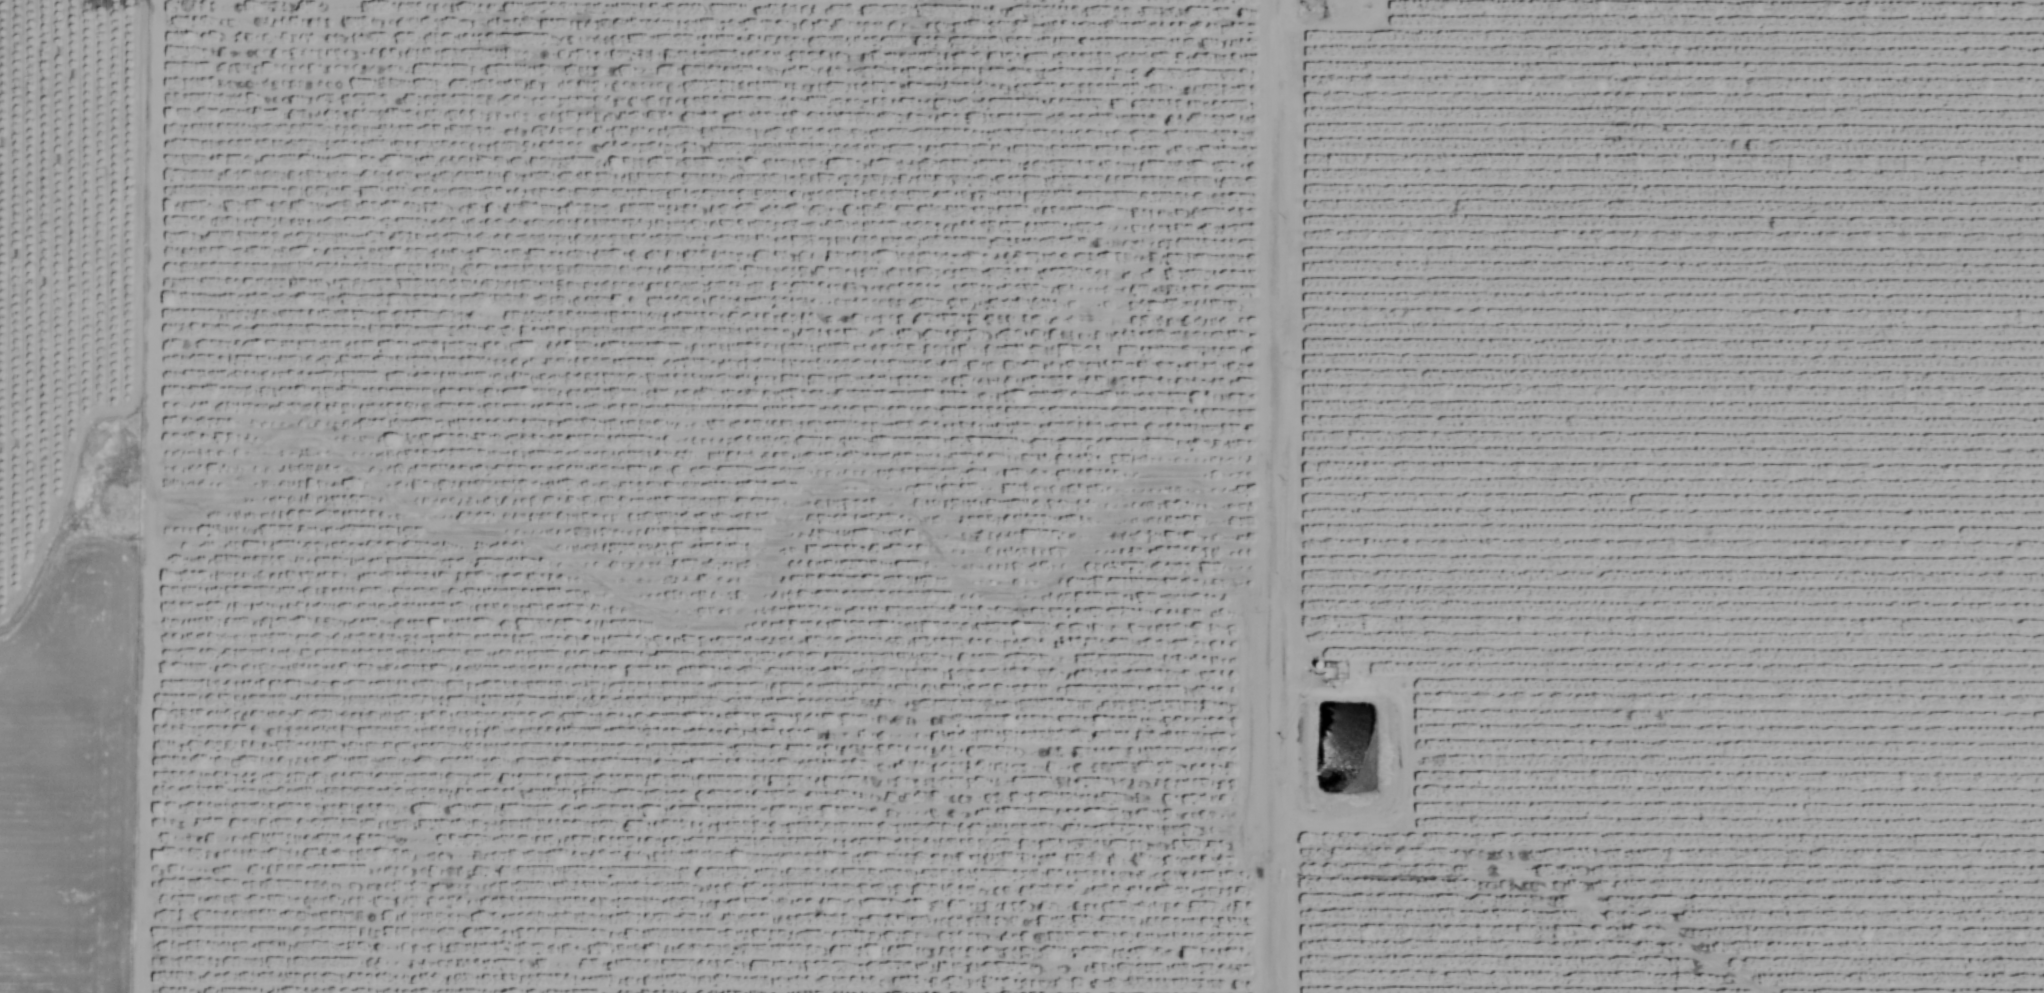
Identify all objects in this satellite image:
crop: (1022, 496)
road: (1285, 496)
building: (598, 992)

